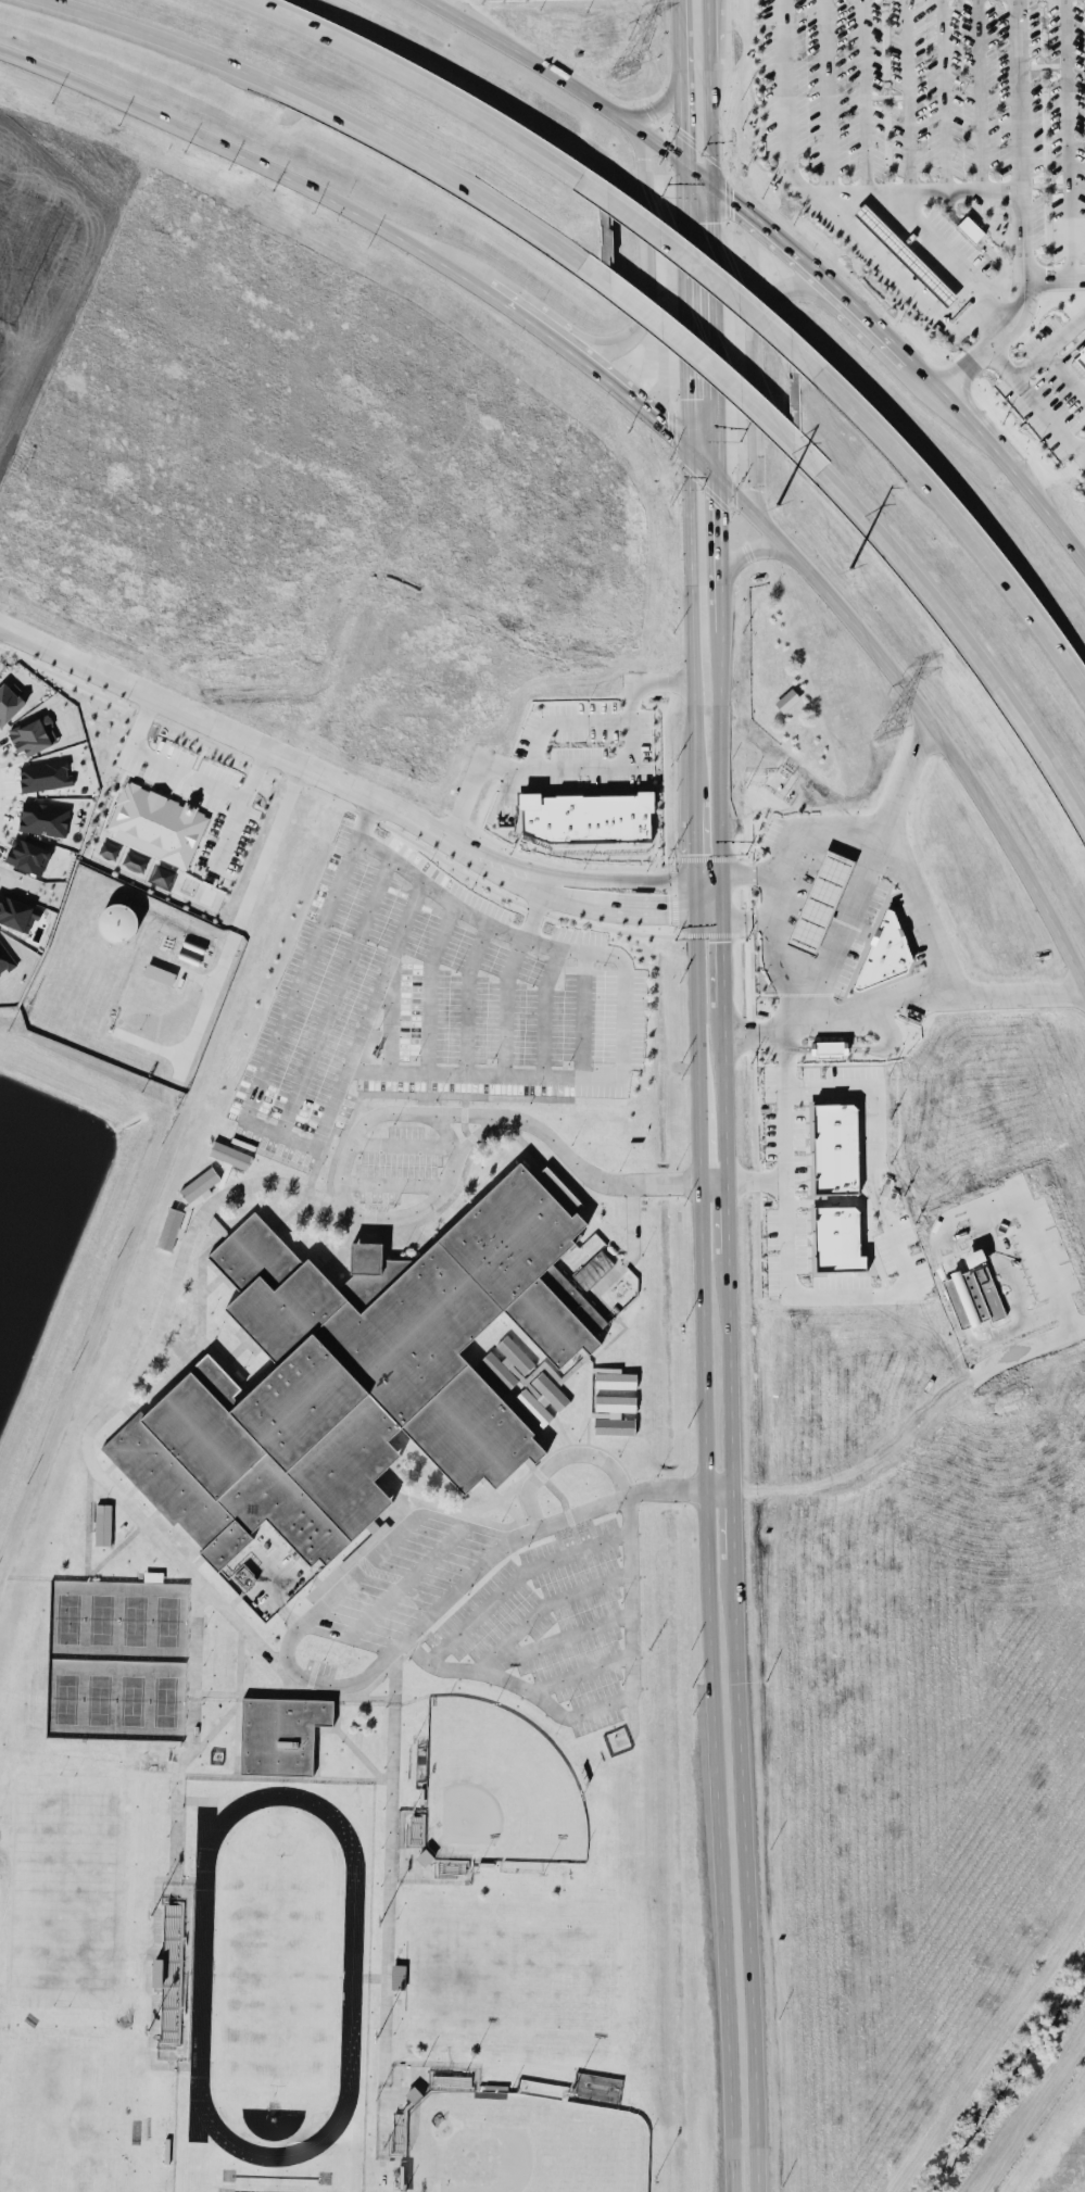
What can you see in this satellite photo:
road: (705, 35)
power tower: (616, 70)
road: (560, 78)
road: (417, 81)
road: (99, 90)
road: (943, 96)
road: (980, 96)
road: (861, 97)
road: (907, 97)
road: (825, 98)
parking lot: (932, 100)
road: (325, 106)
road: (656, 106)
road: (707, 124)
road: (1065, 137)
road: (686, 163)
road: (697, 171)
road: (813, 190)
road: (341, 206)
road: (1020, 210)
road: (709, 232)
building: (971, 234)
road: (782, 240)
road: (640, 248)
building: (905, 254)
gas station: (904, 255)
road: (941, 259)
road: (704, 270)
road: (1054, 275)
road: (900, 278)
road: (783, 293)
road: (509, 306)
road: (554, 340)
road: (693, 344)
road: (1044, 344)
building: (1078, 362)
road: (687, 388)
traffic signals: (687, 395)
road: (629, 400)
road: (1031, 402)
road: (975, 428)
traffic signals: (668, 432)
road: (1082, 453)
traffic signals: (712, 505)
road: (961, 527)
road: (739, 544)
road: (716, 582)
road: (692, 614)
road: (951, 621)
road: (64, 677)
building: (786, 698)
road: (912, 698)
building: (9, 701)
road: (143, 711)
road: (555, 721)
power tower: (885, 733)
building: (34, 734)
road: (201, 739)
road: (270, 754)
road: (575, 767)
building: (41, 771)
road: (277, 773)
road: (175, 782)
building: (586, 809)
building: (40, 815)
building: (155, 821)
road: (696, 828)
road: (872, 829)
road: (267, 844)
traffic signals: (697, 852)
building: (27, 855)
building: (162, 875)
road: (618, 875)
road: (708, 875)
road: (743, 875)
traffic signals: (755, 875)
road: (441, 889)
road: (494, 890)
road: (696, 892)
road: (565, 895)
road: (721, 895)
road: (768, 896)
building: (819, 902)
road: (644, 904)
traffic signals: (669, 904)
building: (16, 909)
road: (911, 911)
road: (709, 912)
road: (846, 918)
road: (745, 919)
building: (116, 922)
traffic signals: (721, 942)
building: (882, 954)
building: (5, 957)
road: (721, 958)
building: (159, 973)
road: (379, 974)
road: (931, 995)
parking lot: (401, 1001)
road: (794, 1005)
building: (829, 1047)
road: (786, 1053)
road: (431, 1075)
road: (722, 1089)
road: (373, 1112)
building: (834, 1148)
building: (230, 1154)
parking lot: (395, 1166)
road: (712, 1179)
road: (307, 1181)
building: (185, 1207)
road: (724, 1218)
building: (836, 1238)
road: (896, 1242)
building: (592, 1269)
road: (1045, 1272)
road: (728, 1372)
building: (350, 1380)
building: (547, 1380)
building: (614, 1414)
road: (87, 1426)
road: (558, 1459)
building: (102, 1524)
road: (731, 1528)
road: (707, 1550)
road: (376, 1552)
parking lot: (263, 1575)
building: (242, 1577)
road: (406, 1579)
parking lot: (501, 1601)
park: (71, 1621)
park: (102, 1621)
park: (136, 1623)
park: (171, 1625)
park: (119, 1662)
park: (68, 1700)
park: (102, 1702)
park: (135, 1703)
park: (167, 1703)
road: (602, 1703)
building: (280, 1734)
park: (497, 1790)
road: (390, 1854)
building: (424, 1856)
road: (744, 1880)
park: (66, 1890)
building: (169, 1970)
stadium: (169, 1976)
building: (398, 1976)
track: (351, 1977)
park: (278, 1978)
park: (528, 1983)
park: (56, 2119)
park: (522, 2144)

